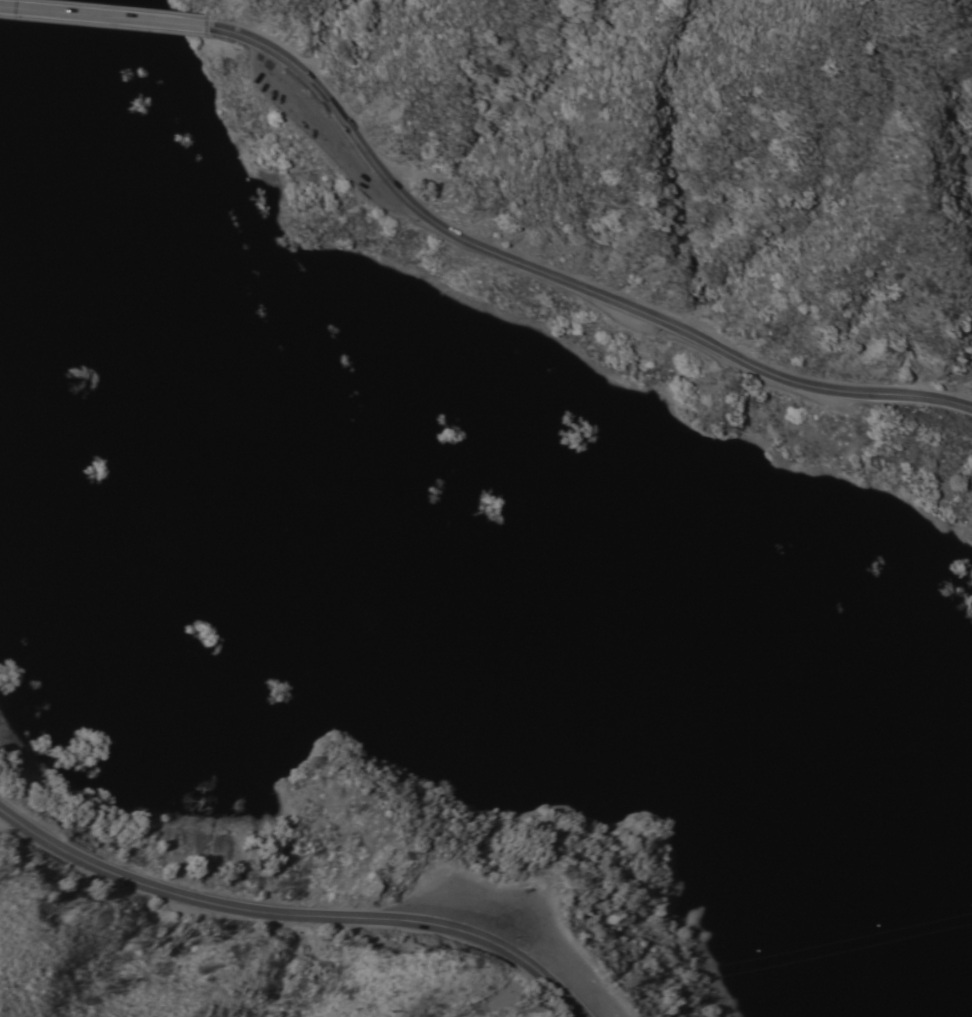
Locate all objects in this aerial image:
road: (104, 15)
road: (554, 277)
river: (434, 593)
road: (296, 914)
parking lot: (528, 927)

